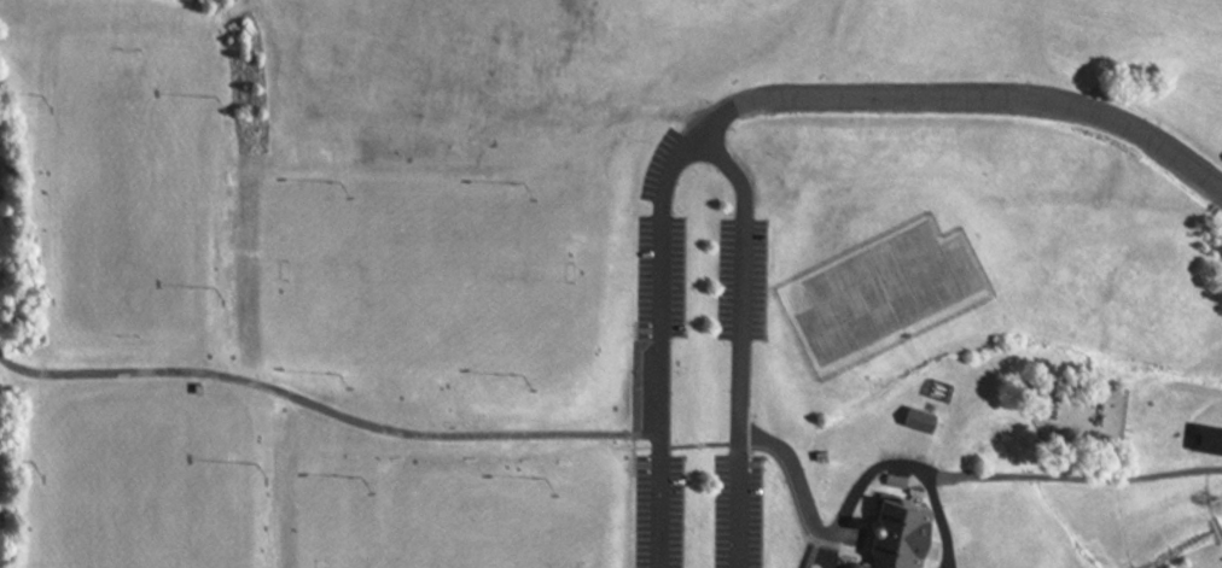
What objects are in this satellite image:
road: (5, 4)
road: (237, 41)
road: (965, 100)
road: (700, 141)
park: (124, 181)
park: (430, 269)
park: (611, 283)
parking lot: (699, 353)
building: (910, 418)
road: (433, 434)
building: (1206, 438)
road: (1001, 478)
building: (906, 490)
park: (139, 497)
road: (1209, 505)
road: (944, 523)
park: (444, 525)
road: (1217, 527)
building: (898, 534)
road: (813, 555)
road: (828, 556)

